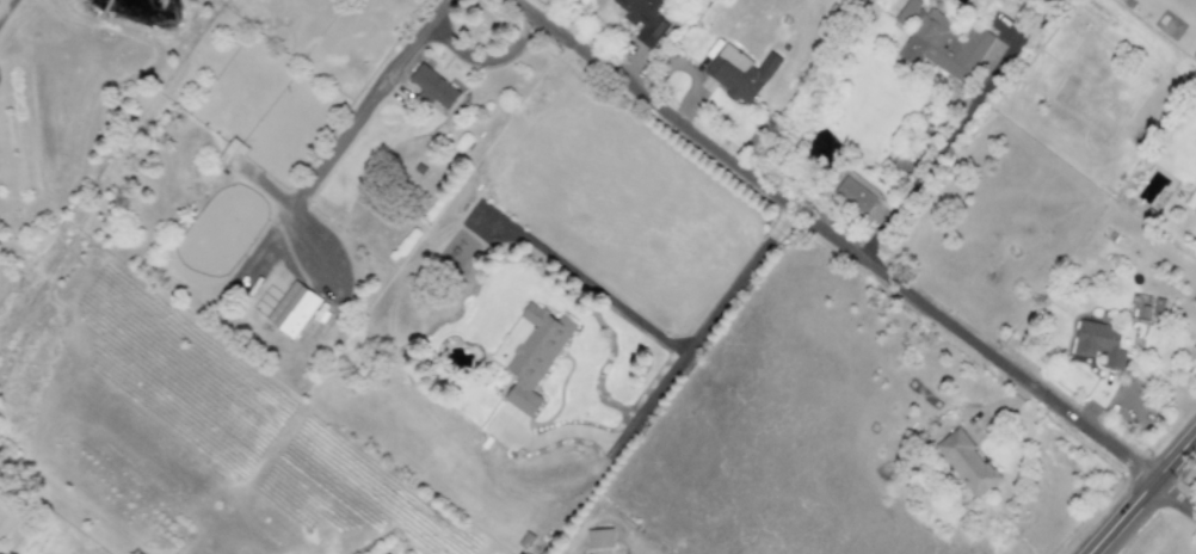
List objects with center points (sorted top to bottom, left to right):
building: (646, 19)
building: (941, 42)
road: (475, 57)
building: (740, 73)
building: (432, 86)
road: (357, 112)
road: (949, 141)
building: (853, 196)
building: (1191, 202)
road: (855, 254)
building: (292, 309)
building: (1154, 309)
building: (1099, 343)
building: (530, 352)
road: (658, 389)
building: (966, 462)
road: (1145, 495)
building: (599, 538)
building: (525, 541)

